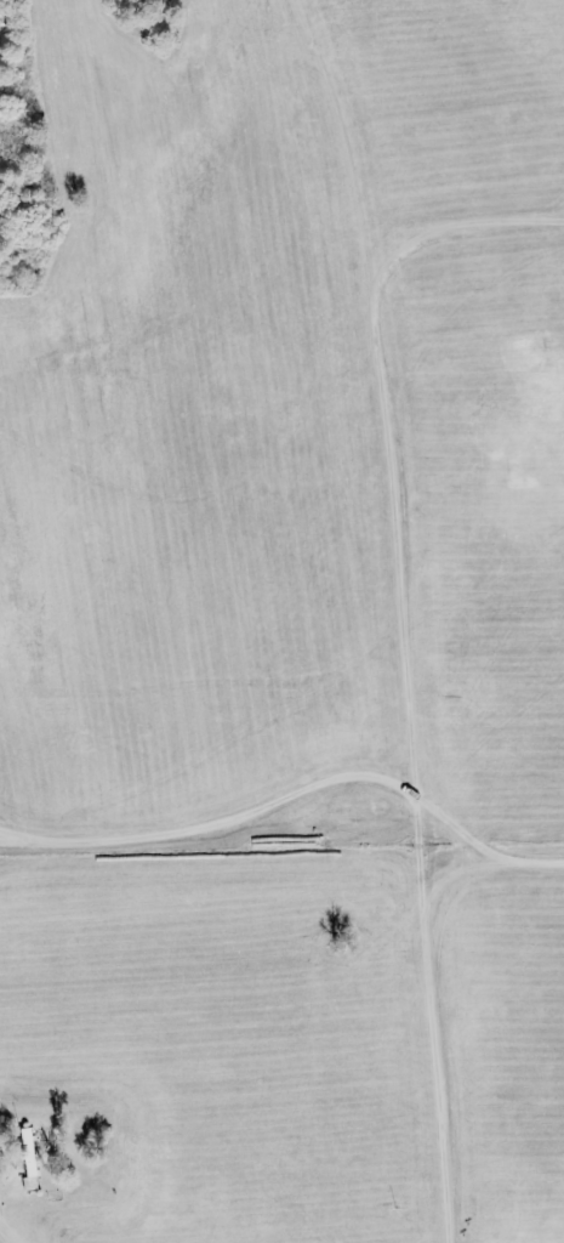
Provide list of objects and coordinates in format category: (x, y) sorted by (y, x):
building: (32, 1158)
road: (13, 1230)

